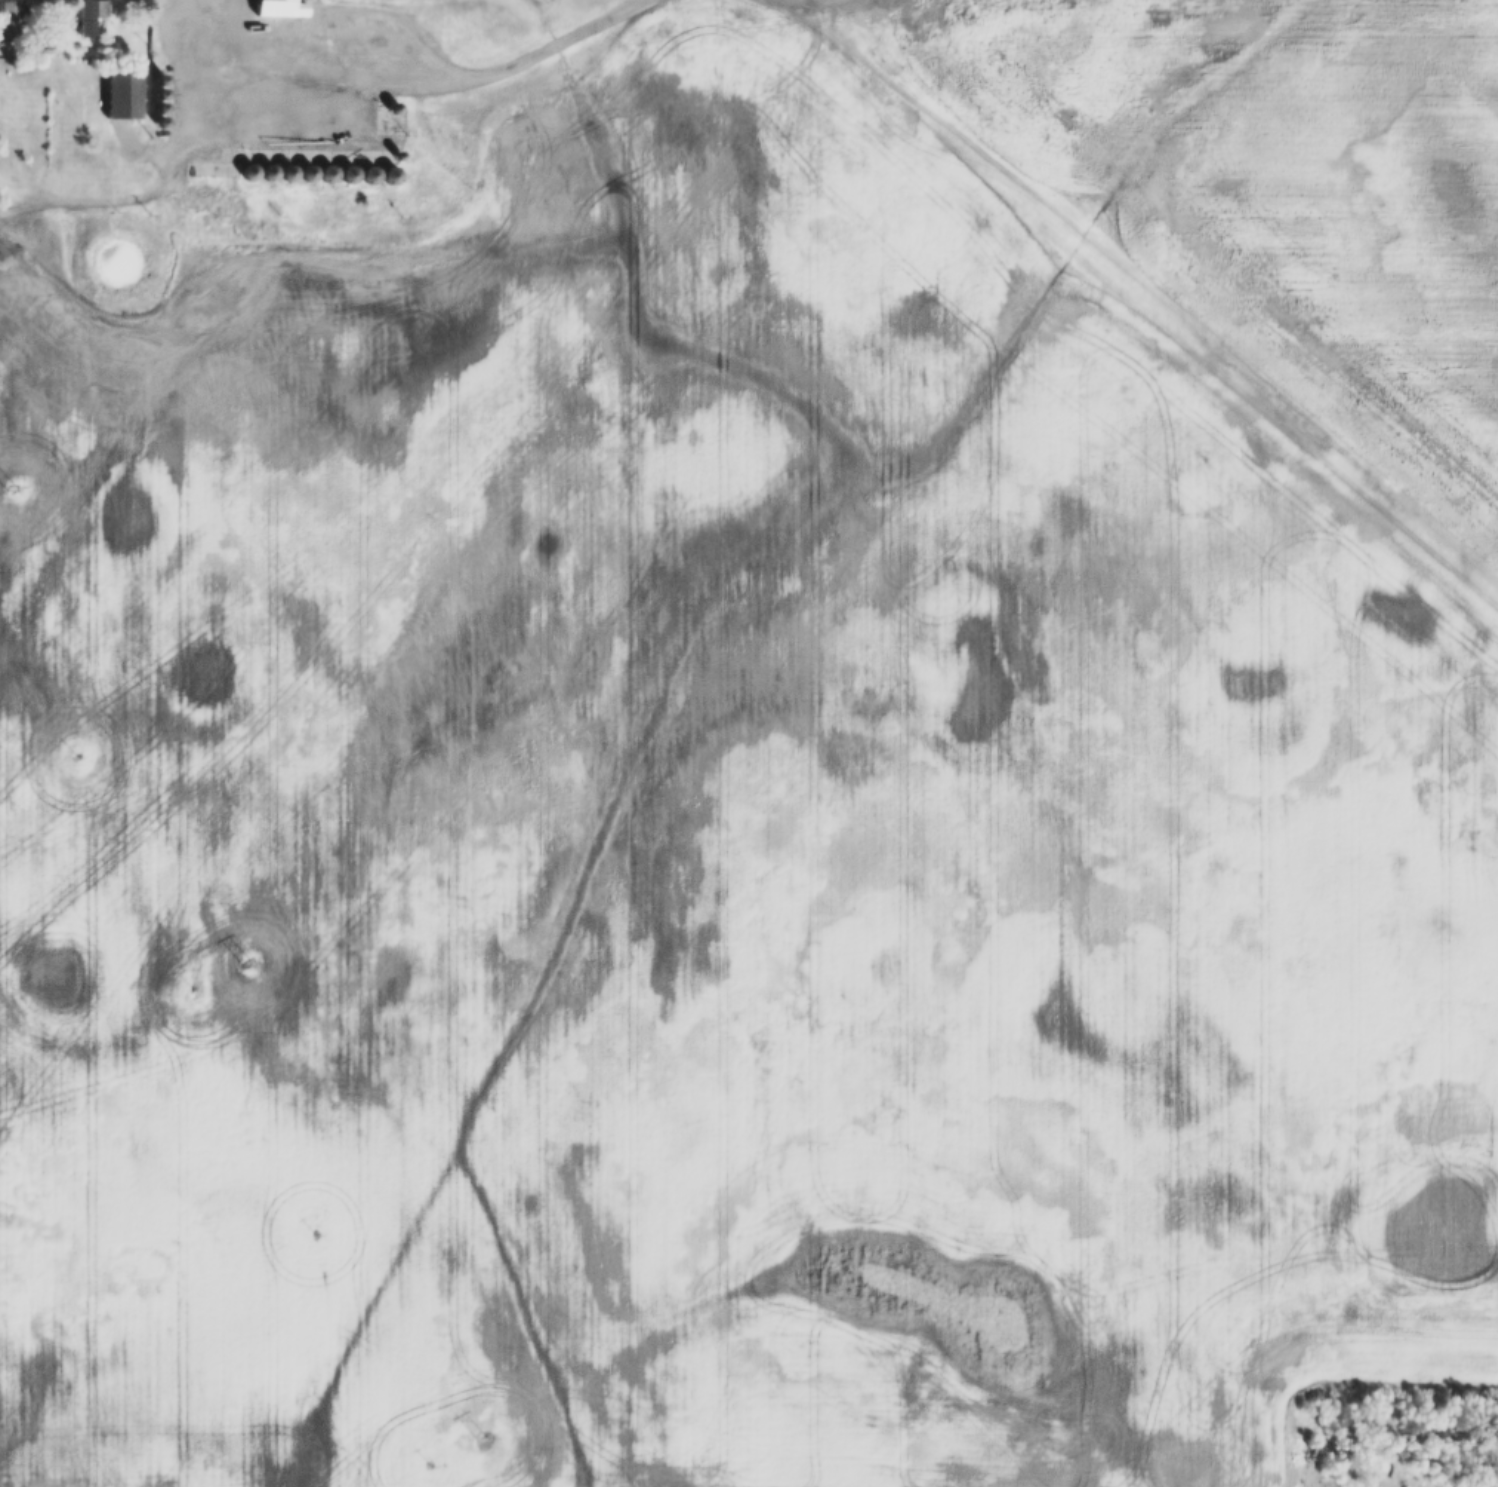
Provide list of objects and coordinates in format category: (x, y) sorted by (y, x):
road: (778, 4)
road: (787, 4)
building: (277, 9)
road: (803, 11)
building: (90, 19)
building: (8, 21)
road: (434, 75)
road: (202, 98)
road: (76, 200)
airport runway: (1161, 296)
power tower: (6, 486)
power tower: (243, 963)
power tower: (479, 1437)

